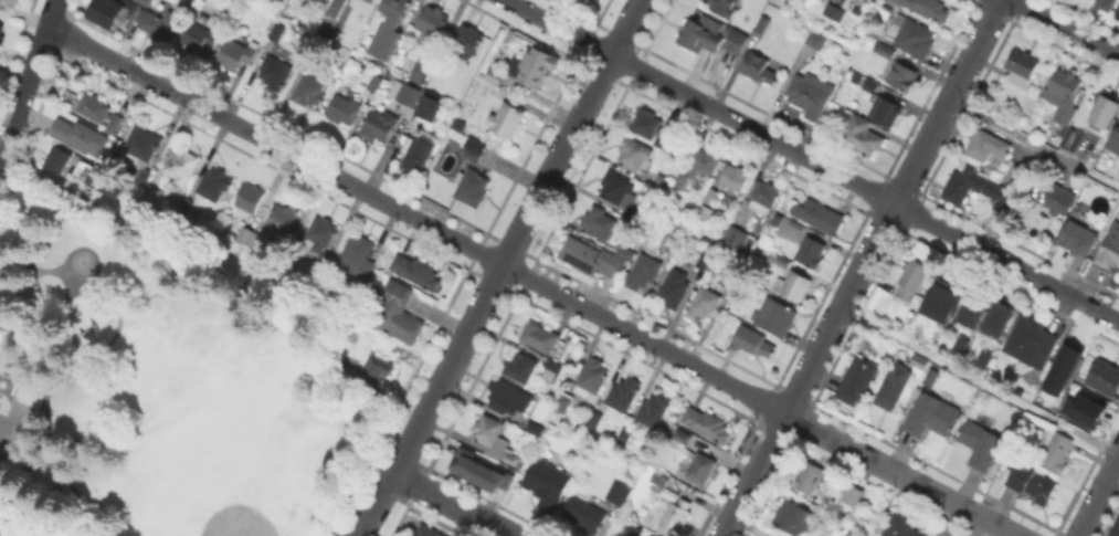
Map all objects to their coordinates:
building: (146, 0)
building: (370, 0)
building: (12, 1)
building: (1105, 3)
building: (137, 4)
building: (724, 6)
building: (336, 8)
building: (929, 8)
building: (834, 10)
building: (1117, 13)
building: (117, 15)
building: (433, 21)
building: (763, 23)
building: (159, 24)
building: (389, 27)
road: (1066, 27)
building: (273, 30)
building: (698, 32)
building: (1, 34)
building: (200, 35)
building: (914, 36)
building: (731, 38)
building: (817, 39)
building: (465, 41)
building: (885, 50)
building: (237, 53)
building: (532, 66)
building: (1022, 67)
building: (416, 69)
building: (759, 69)
building: (275, 72)
building: (853, 76)
building: (904, 76)
road: (28, 77)
building: (374, 82)
building: (868, 83)
building: (488, 84)
building: (309, 91)
building: (405, 93)
building: (1065, 94)
building: (811, 95)
building: (425, 106)
building: (342, 108)
building: (886, 109)
building: (99, 111)
building: (1104, 111)
building: (506, 119)
building: (454, 123)
building: (646, 123)
building: (379, 125)
building: (80, 135)
building: (863, 137)
building: (1072, 137)
building: (662, 138)
building: (142, 143)
road: (1034, 144)
building: (989, 147)
building: (1113, 148)
building: (474, 149)
building: (416, 154)
building: (634, 155)
road: (812, 160)
building: (56, 161)
building: (704, 162)
building: (181, 165)
building: (1017, 176)
building: (736, 178)
building: (96, 180)
building: (680, 180)
building: (662, 182)
building: (215, 185)
building: (147, 186)
building: (472, 187)
building: (995, 189)
building: (621, 193)
building: (764, 197)
building: (709, 198)
building: (250, 199)
building: (1060, 200)
building: (190, 208)
building: (819, 216)
building: (285, 220)
building: (599, 222)
building: (795, 225)
building: (321, 232)
building: (245, 235)
building: (1079, 238)
building: (738, 239)
building: (675, 244)
building: (1110, 248)
building: (811, 252)
building: (357, 255)
building: (594, 258)
building: (705, 260)
building: (782, 262)
road: (499, 263)
road: (861, 267)
road: (500, 269)
building: (416, 270)
building: (643, 272)
building: (909, 280)
building: (794, 286)
building: (674, 287)
building: (939, 298)
building: (703, 304)
building: (970, 307)
building: (398, 313)
building: (777, 316)
building: (1000, 316)
building: (541, 336)
building: (1032, 341)
building: (753, 343)
building: (957, 344)
building: (985, 356)
building: (916, 360)
building: (1058, 364)
building: (521, 366)
building: (555, 366)
building: (377, 369)
building: (928, 376)
building: (593, 377)
building: (1106, 378)
park: (8, 379)
road: (980, 379)
building: (857, 380)
park: (162, 381)
building: (894, 385)
building: (624, 392)
building: (504, 396)
building: (563, 403)
building: (1081, 409)
building: (654, 410)
building: (932, 414)
building: (594, 418)
building: (538, 420)
building: (707, 423)
park: (218, 431)
building: (624, 434)
building: (682, 435)
building: (495, 439)
building: (981, 443)
building: (1055, 450)
building: (701, 467)
building: (481, 470)
building: (809, 477)
building: (659, 479)
building: (547, 482)
building: (1032, 483)
building: (669, 488)
building: (616, 491)
building: (853, 495)
road: (1098, 496)
road: (452, 504)
building: (582, 512)
building: (676, 514)
park: (239, 516)
road: (986, 517)
building: (793, 518)
road: (748, 526)
building: (1113, 526)
building: (900, 527)
building: (631, 529)
road: (7, 532)
building: (430, 532)
building: (646, 535)
building: (835, 535)
building: (843, 535)

